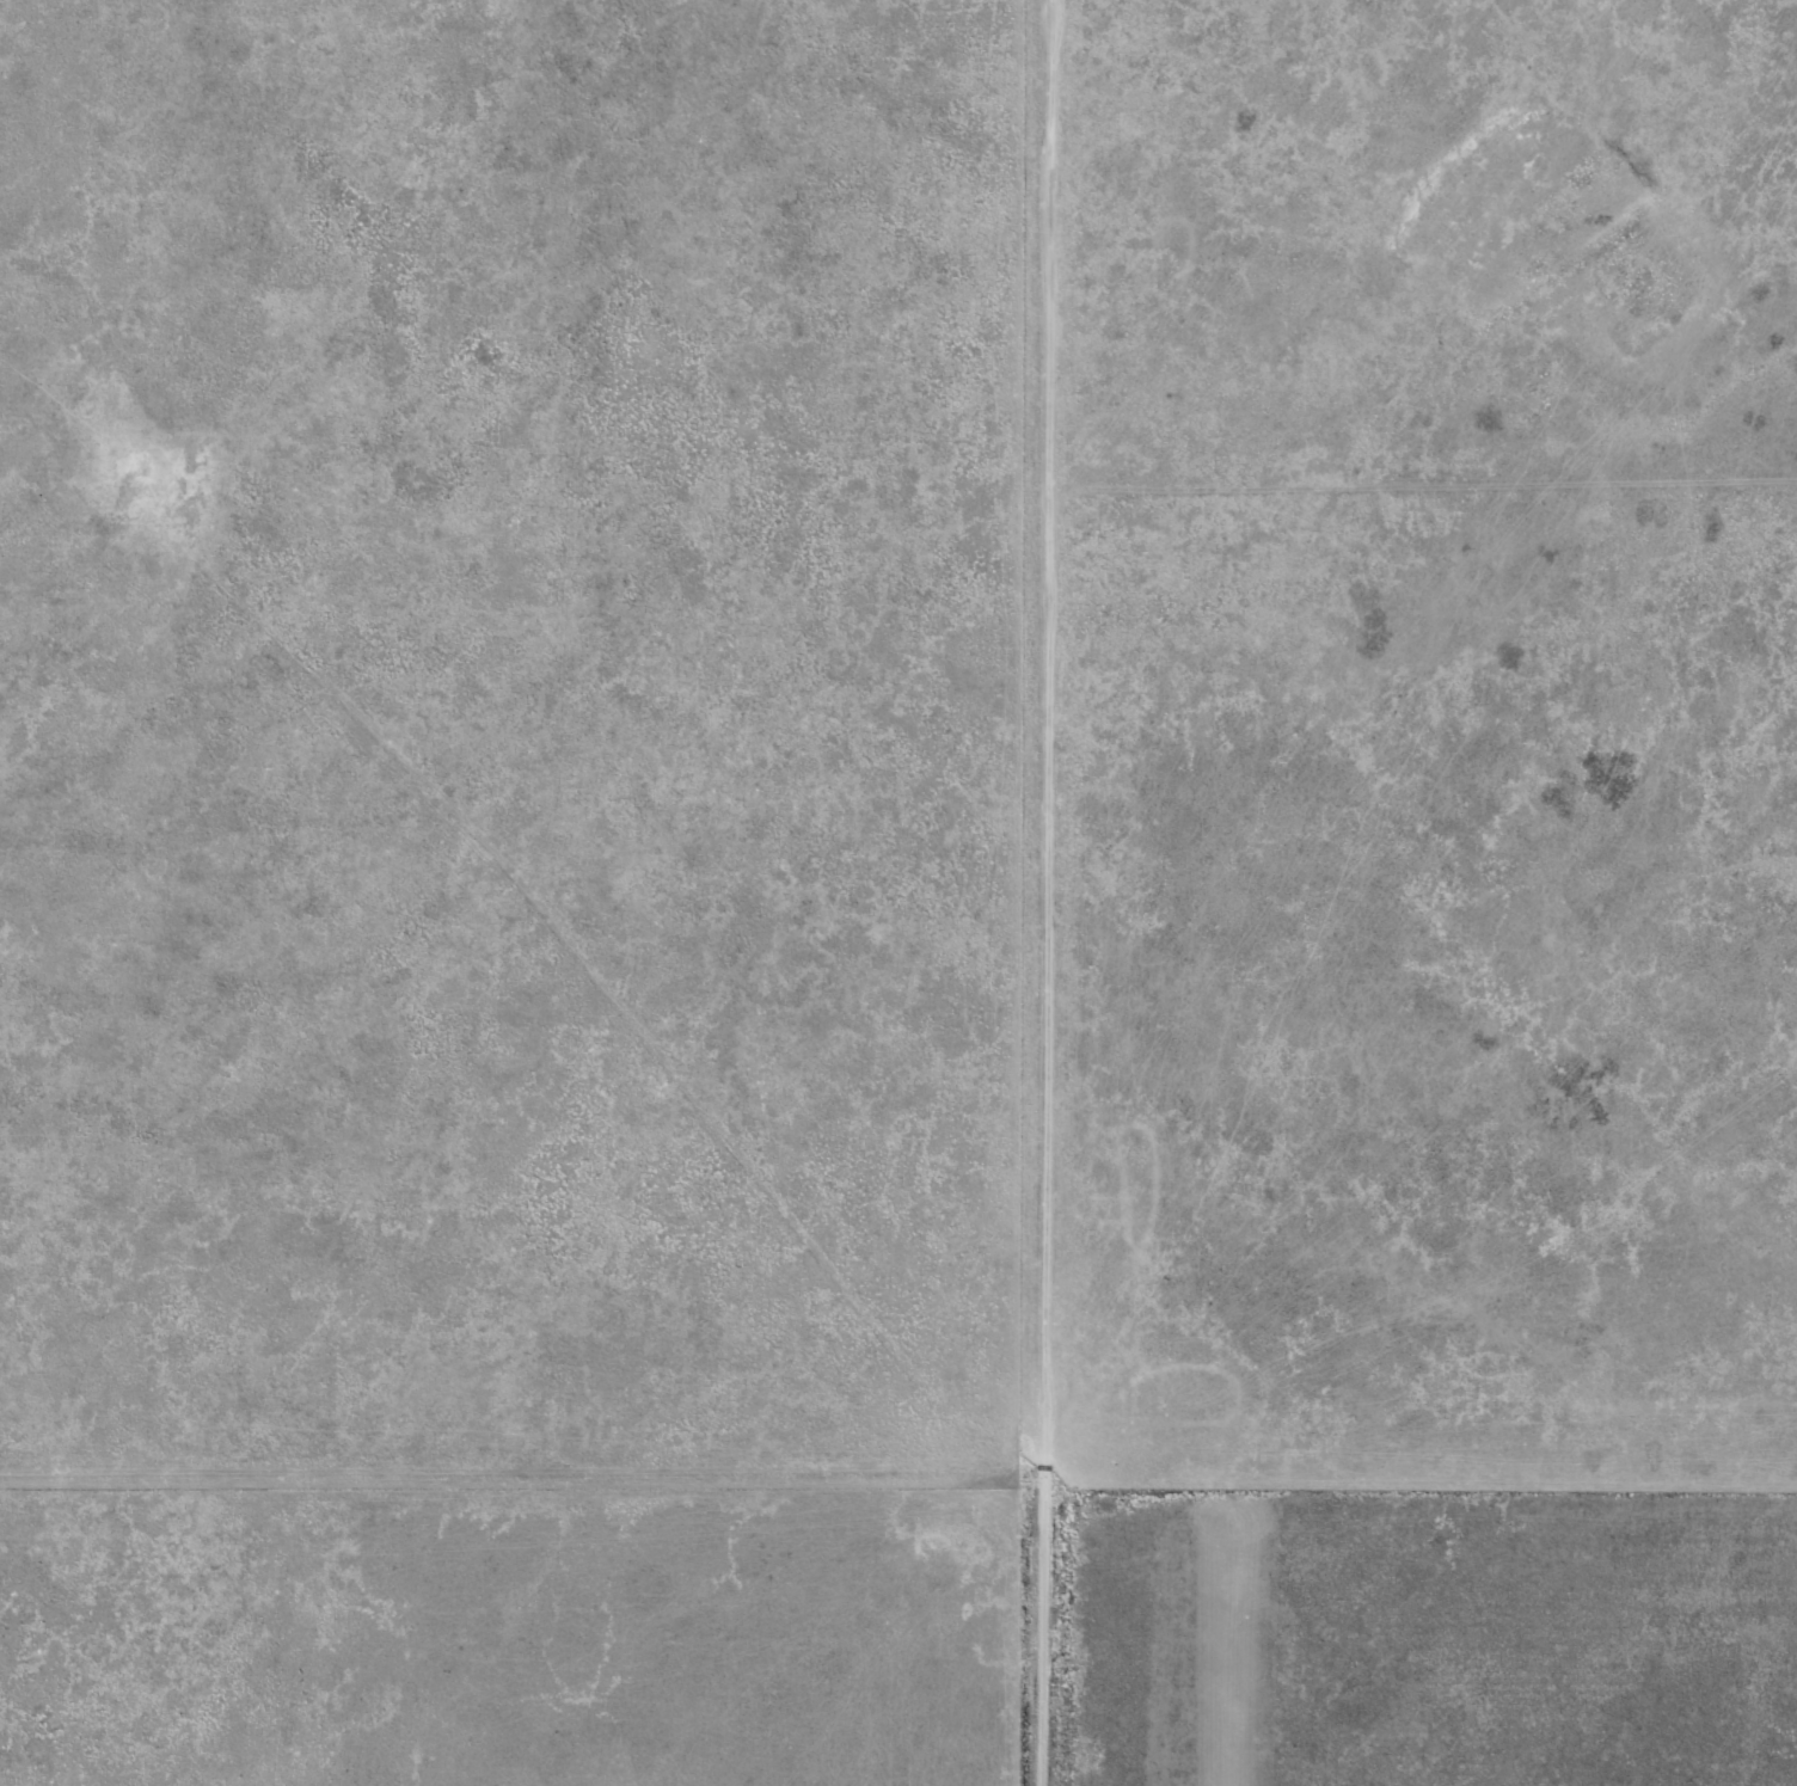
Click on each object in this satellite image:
road: (1053, 892)
road: (522, 1481)
airport: (1425, 1637)
airport runway: (1235, 1656)

